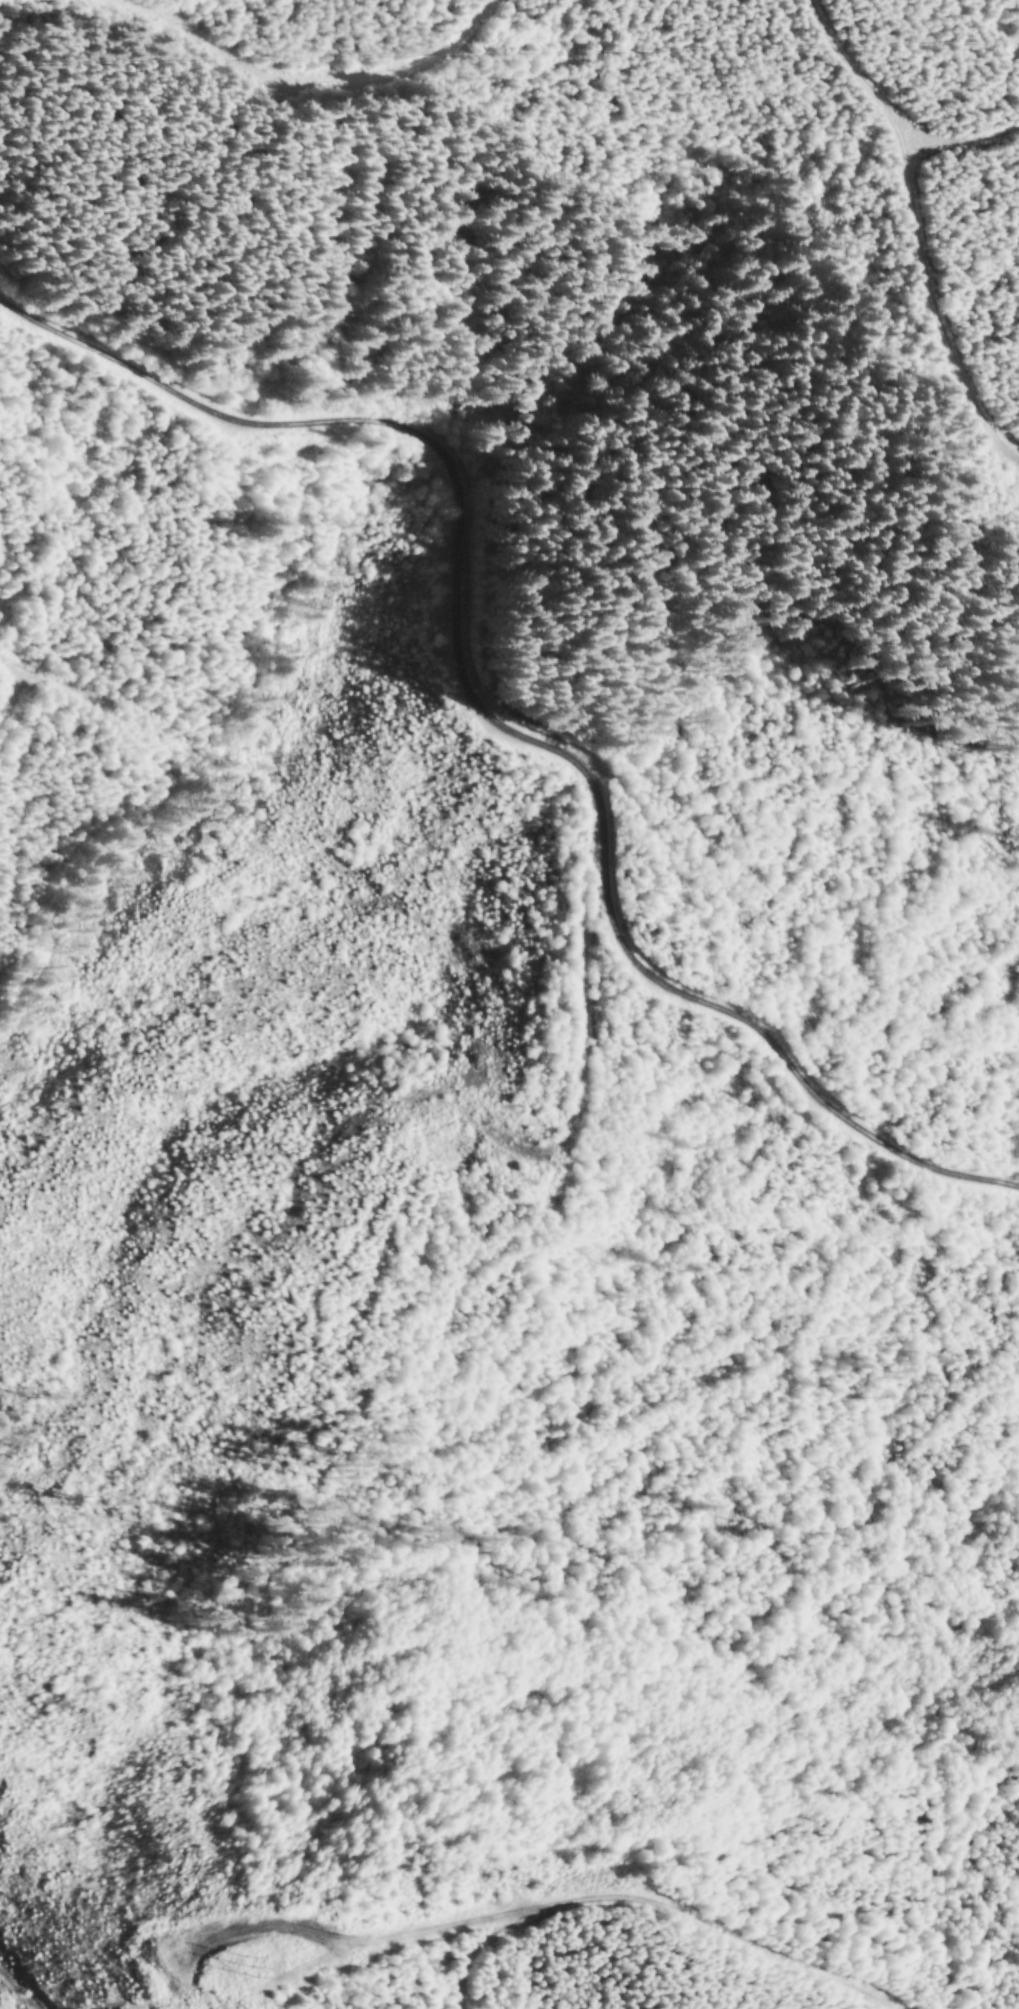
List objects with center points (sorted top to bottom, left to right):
road: (936, 94)
road: (494, 783)
road: (644, 1940)
road: (55, 1946)
road: (494, 2004)

